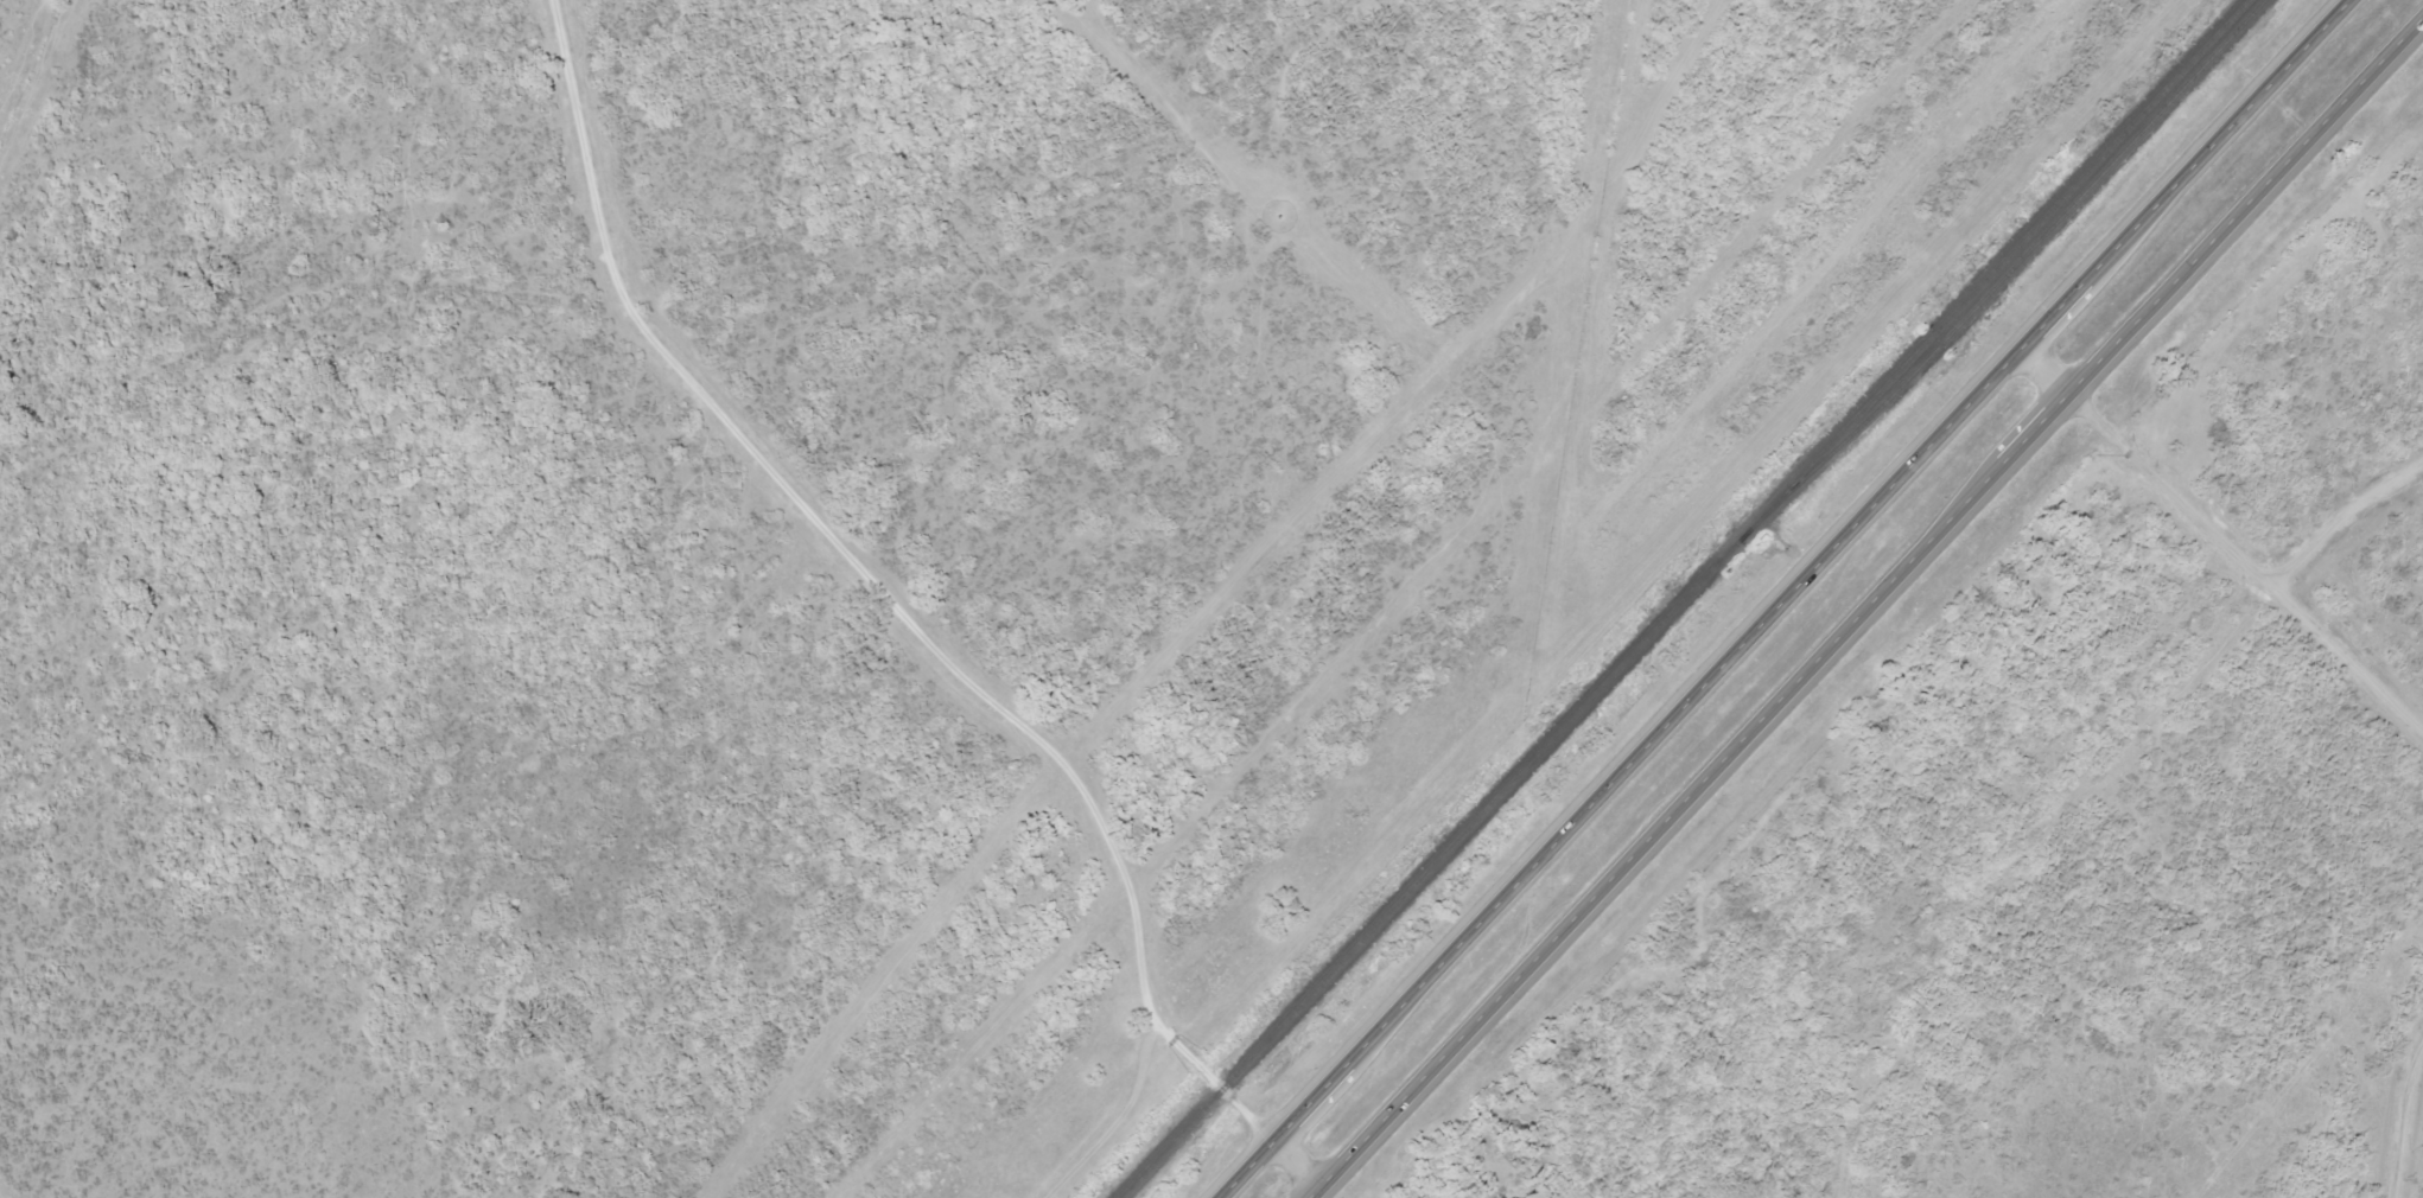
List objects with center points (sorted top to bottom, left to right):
railway: (2012, 265)
road: (2047, 374)
railway: (1678, 598)
road: (1796, 599)
road: (1870, 604)
road: (2231, 608)
road: (896, 622)
road: (2065, 795)
power tower: (2405, 952)
road: (2396, 1114)

